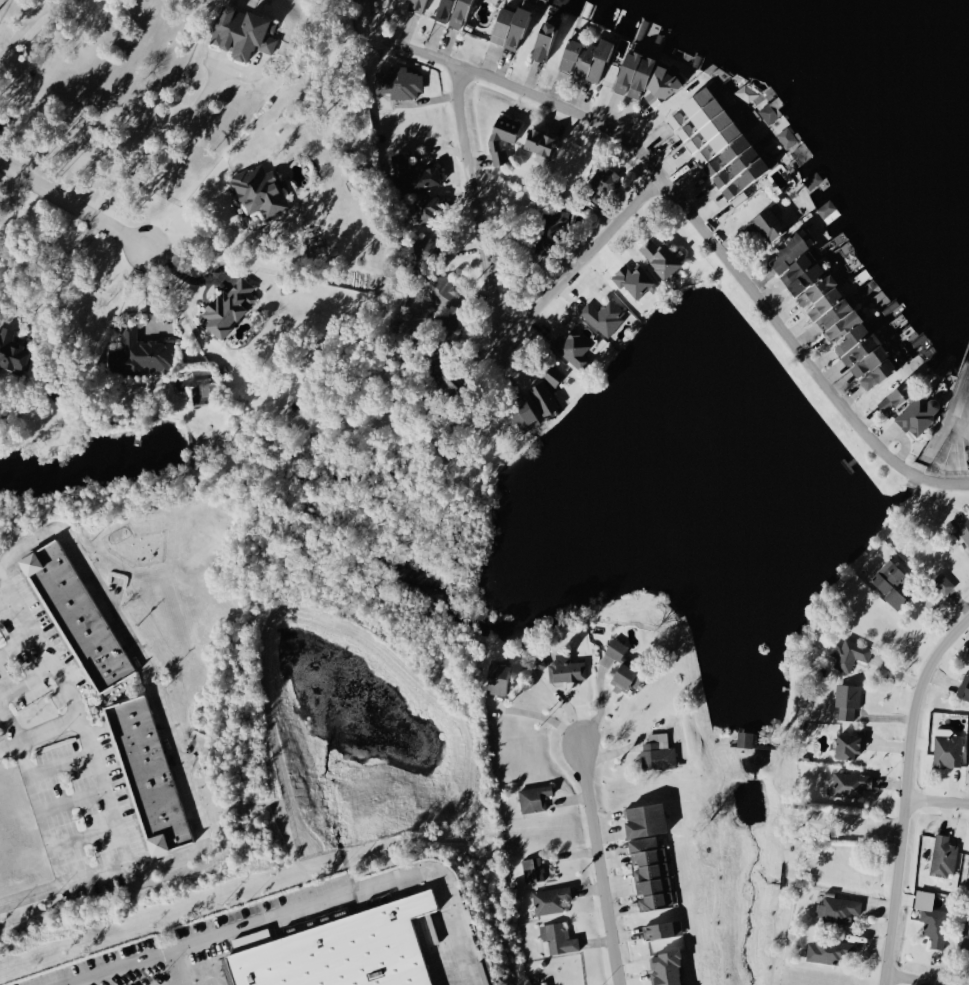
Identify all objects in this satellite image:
building: (416, 5)
building: (453, 12)
building: (509, 26)
road: (21, 27)
building: (242, 32)
building: (543, 40)
building: (585, 58)
building: (633, 74)
building: (399, 82)
building: (660, 86)
building: (749, 90)
building: (771, 111)
building: (502, 136)
building: (787, 137)
building: (540, 141)
building: (717, 142)
road: (166, 150)
building: (412, 174)
building: (605, 179)
building: (812, 181)
building: (259, 190)
road: (9, 195)
road: (68, 206)
building: (428, 208)
building: (768, 224)
road: (696, 225)
building: (550, 228)
road: (190, 236)
building: (431, 244)
building: (660, 258)
building: (796, 264)
road: (51, 269)
road: (179, 274)
building: (634, 280)
building: (441, 291)
road: (149, 292)
road: (493, 306)
building: (227, 307)
building: (603, 316)
building: (452, 327)
building: (847, 332)
building: (572, 348)
building: (13, 350)
building: (139, 353)
building: (944, 364)
building: (552, 375)
building: (895, 397)
building: (544, 399)
building: (522, 413)
building: (918, 413)
building: (962, 524)
building: (890, 581)
building: (943, 582)
road: (6, 605)
building: (76, 616)
road: (16, 644)
road: (39, 647)
building: (615, 648)
building: (849, 653)
building: (538, 662)
building: (565, 668)
building: (622, 675)
building: (497, 677)
road: (25, 681)
road: (149, 686)
building: (964, 686)
building: (847, 699)
road: (601, 707)
road: (538, 715)
road: (5, 727)
road: (44, 727)
building: (744, 737)
road: (5, 740)
building: (847, 745)
building: (946, 747)
building: (657, 752)
road: (56, 764)
building: (147, 775)
building: (851, 783)
road: (900, 790)
building: (534, 797)
road: (934, 801)
road: (68, 802)
road: (79, 837)
park: (756, 846)
building: (648, 853)
building: (943, 855)
road: (594, 865)
building: (532, 869)
road: (93, 872)
building: (967, 873)
road: (347, 899)
building: (550, 899)
building: (838, 908)
building: (934, 925)
building: (662, 928)
building: (965, 936)
building: (557, 937)
parking lot: (306, 941)
building: (826, 951)
building: (341, 954)
road: (138, 966)
building: (666, 967)
road: (911, 980)

